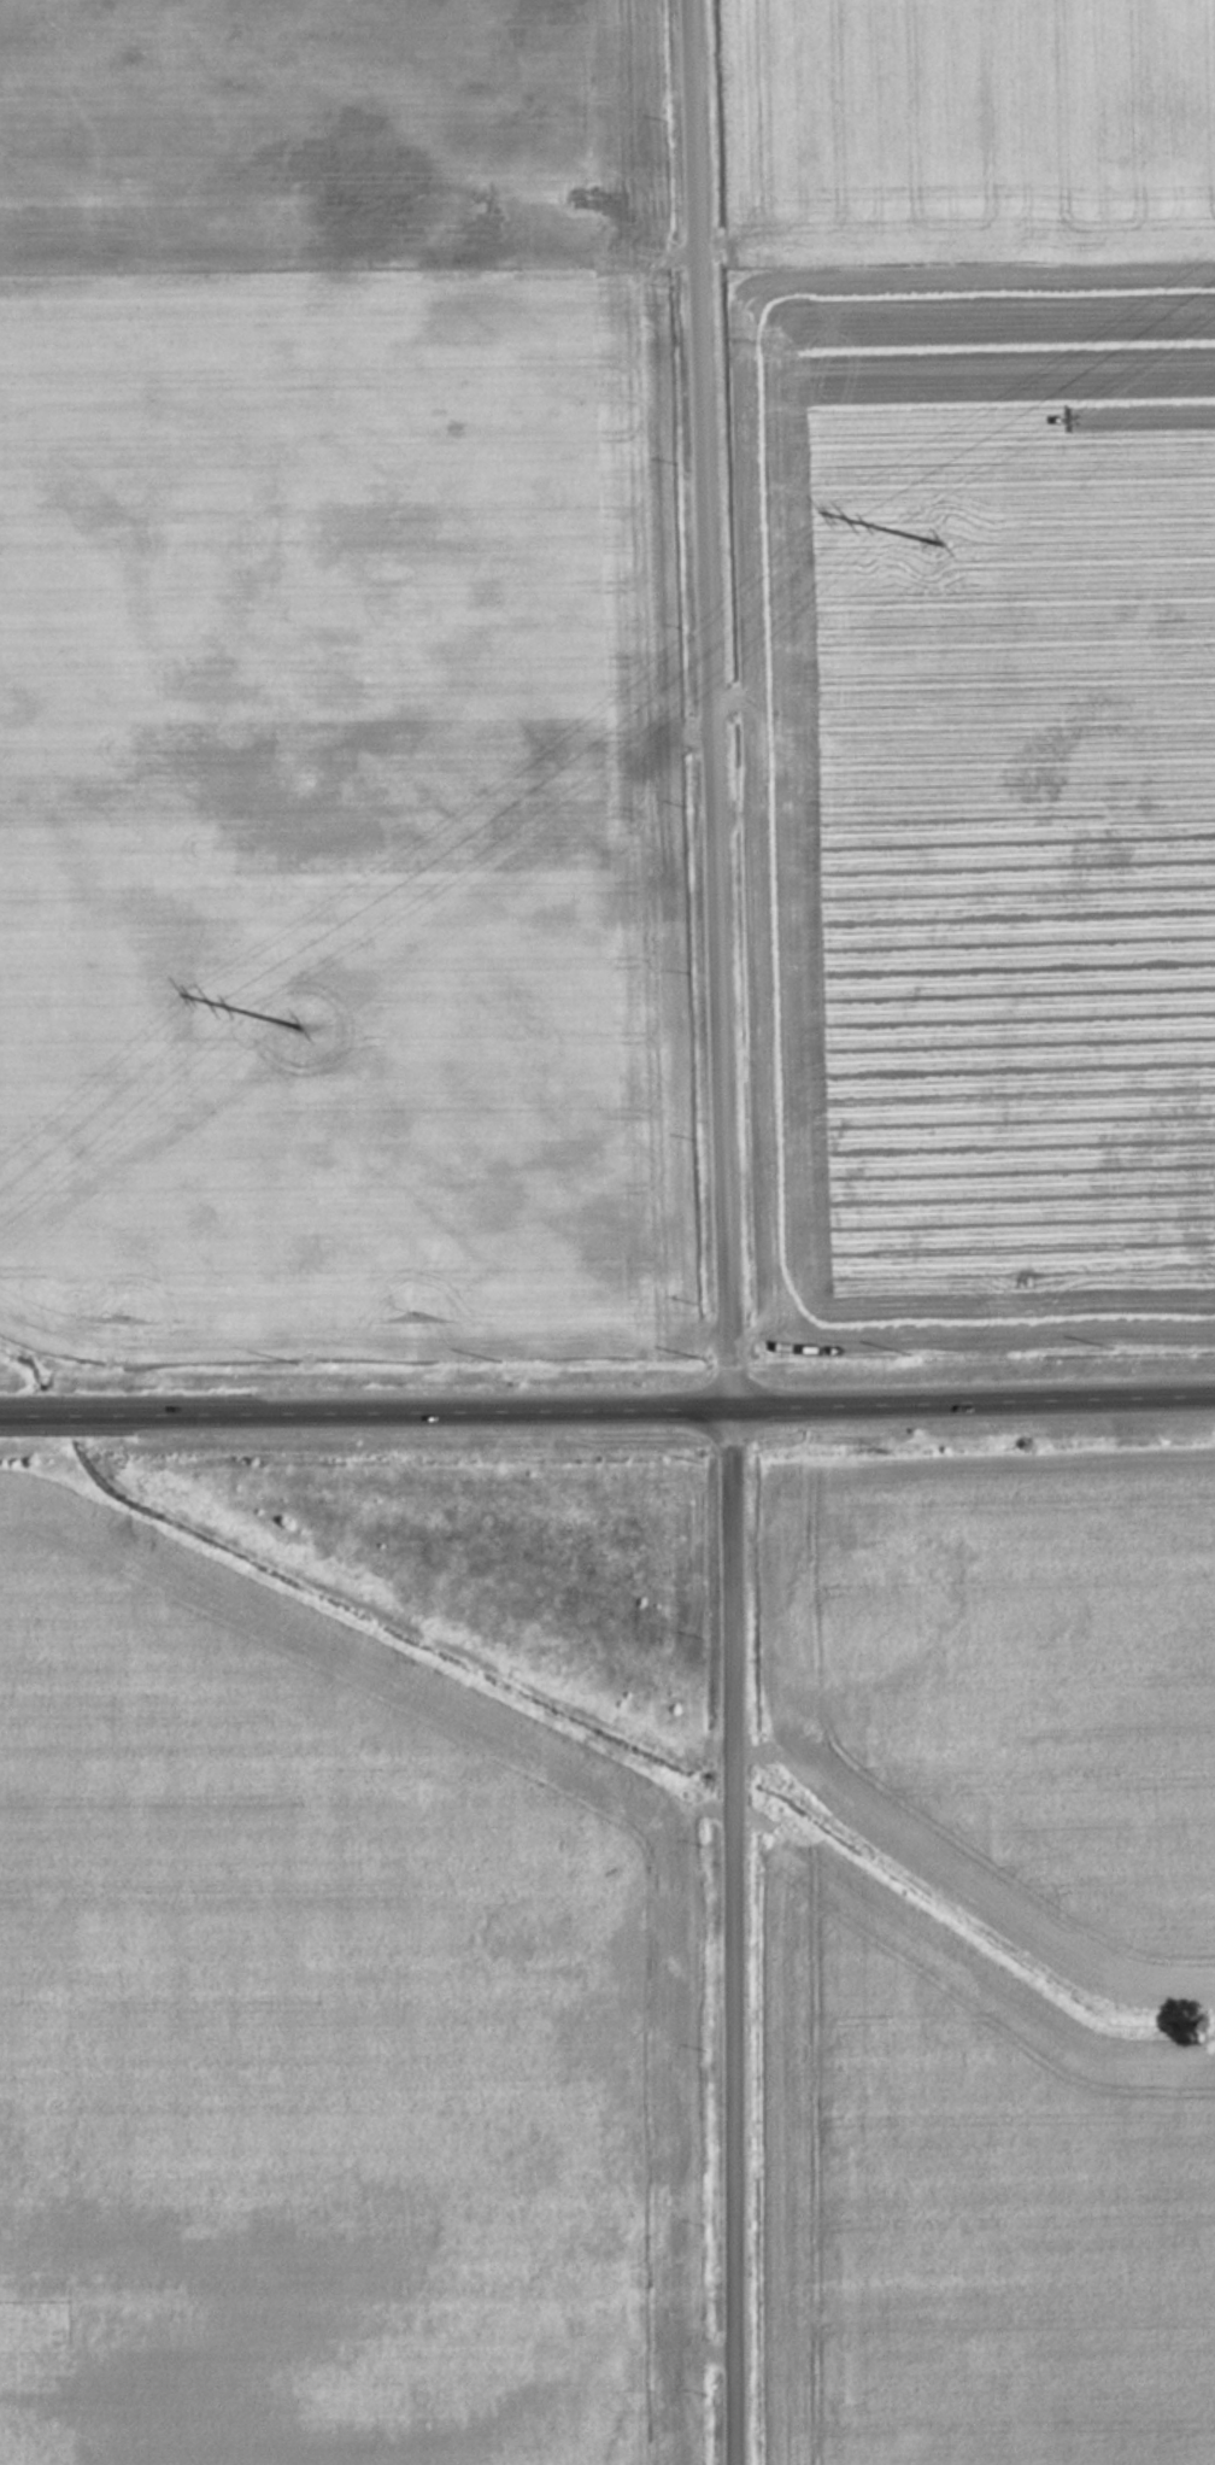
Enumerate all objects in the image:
power tower: (963, 541)
road: (714, 702)
power tower: (300, 1026)
road: (607, 1406)
road: (732, 1934)

